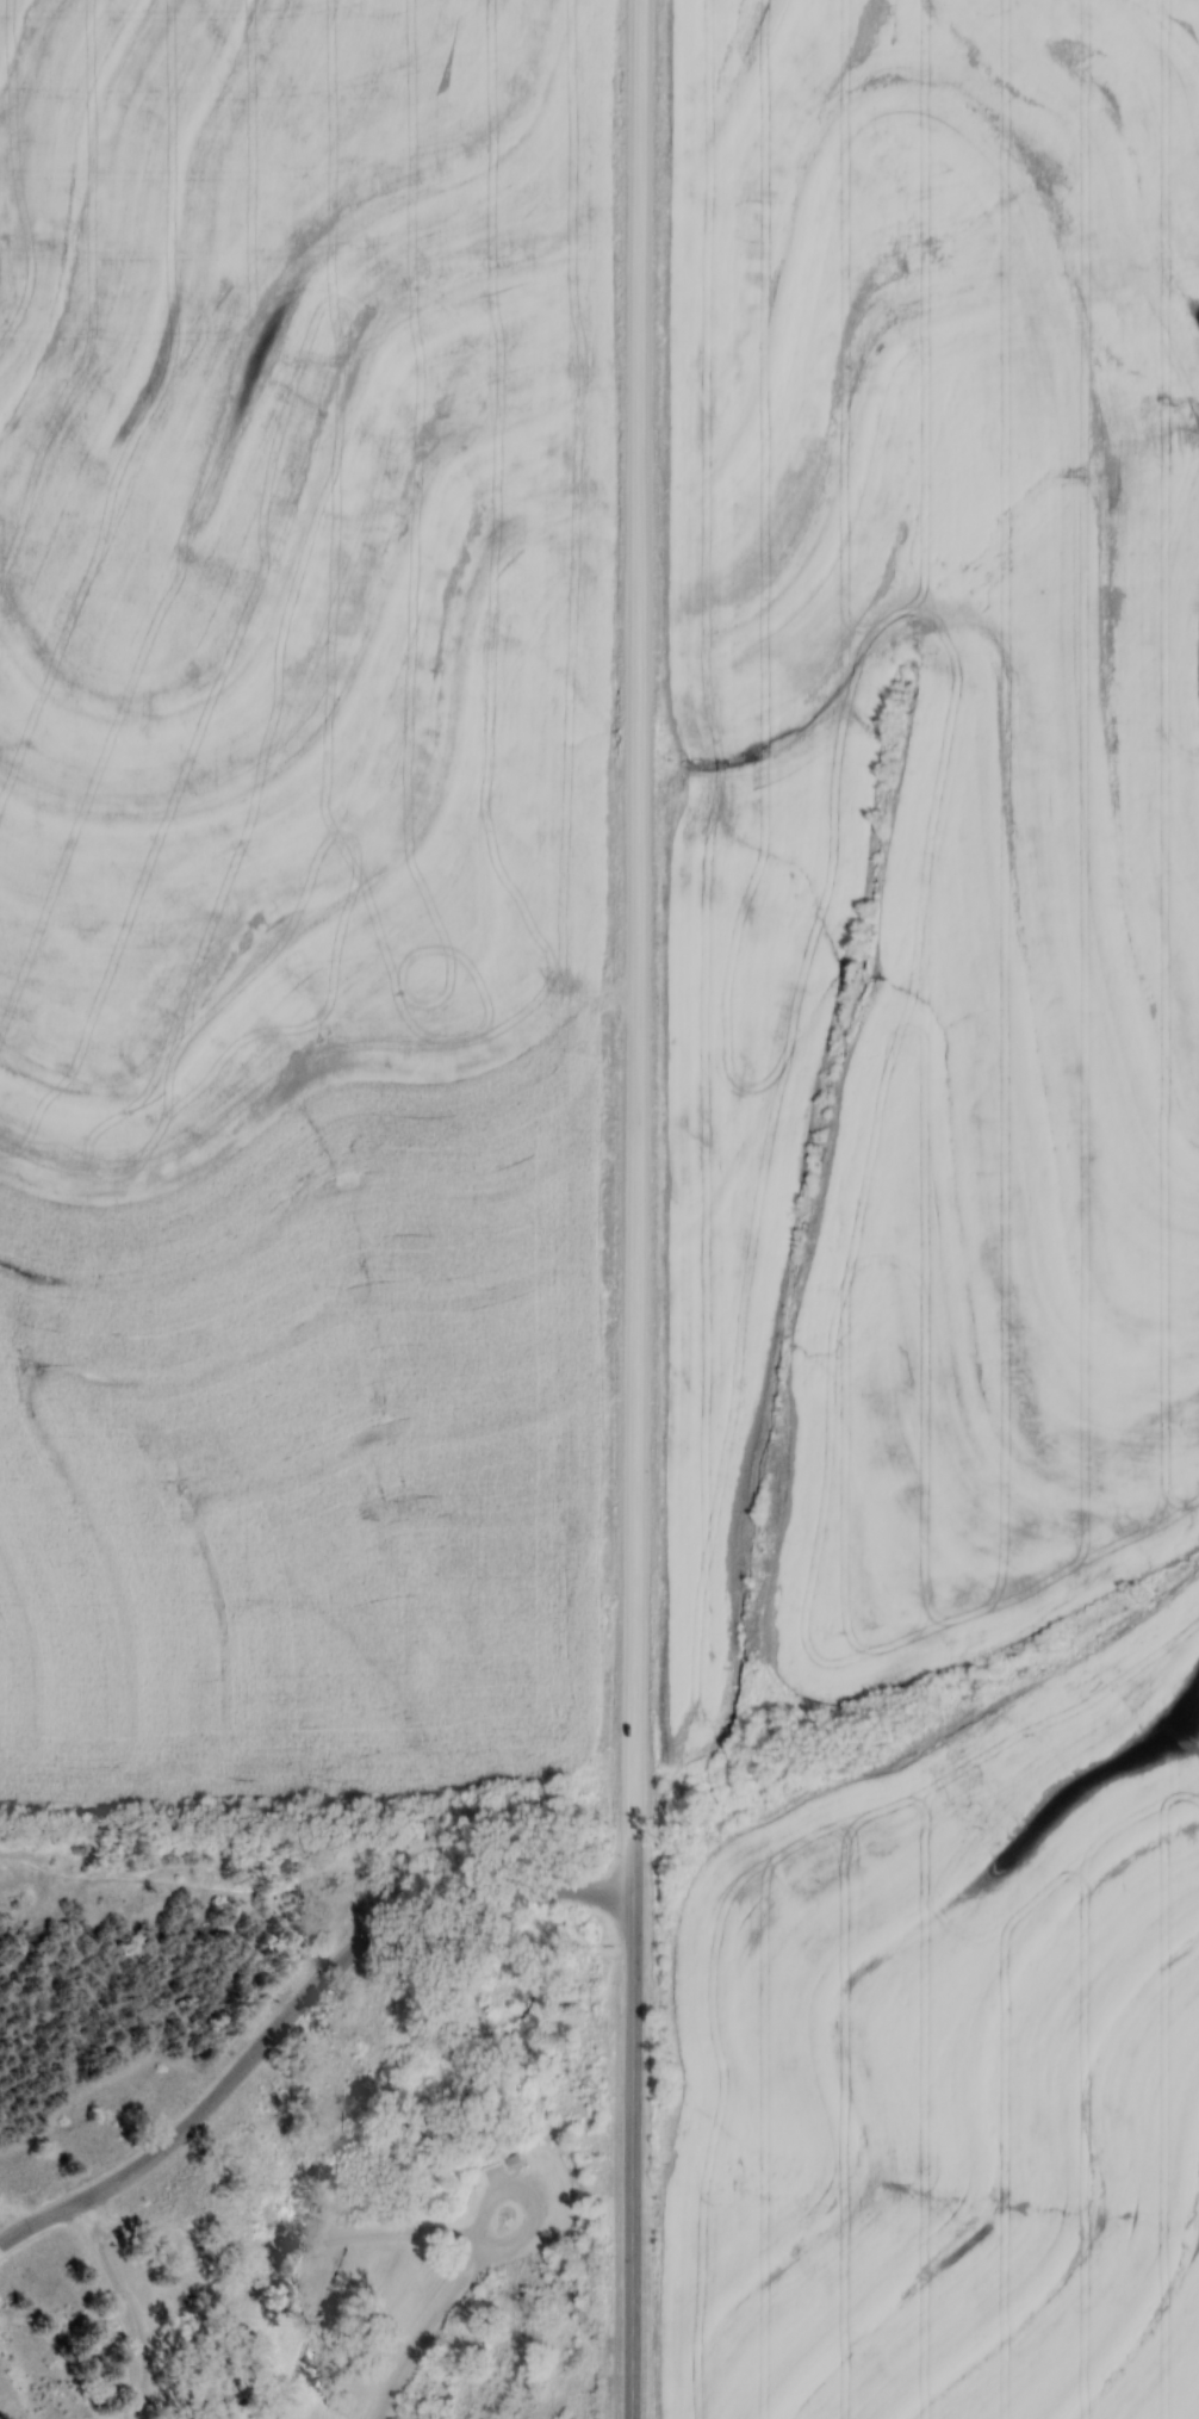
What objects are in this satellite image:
road: (636, 900)
road: (634, 1846)
road: (212, 1865)
road: (92, 1973)
road: (291, 2006)
road: (190, 2060)
park: (316, 2108)
road: (633, 2154)
building: (487, 2166)
road: (527, 2197)
road: (5, 2228)
road: (476, 2241)
road: (273, 2246)
road: (520, 2287)
road: (123, 2306)
road: (240, 2333)
road: (423, 2333)
road: (554, 2367)
road: (497, 2375)

